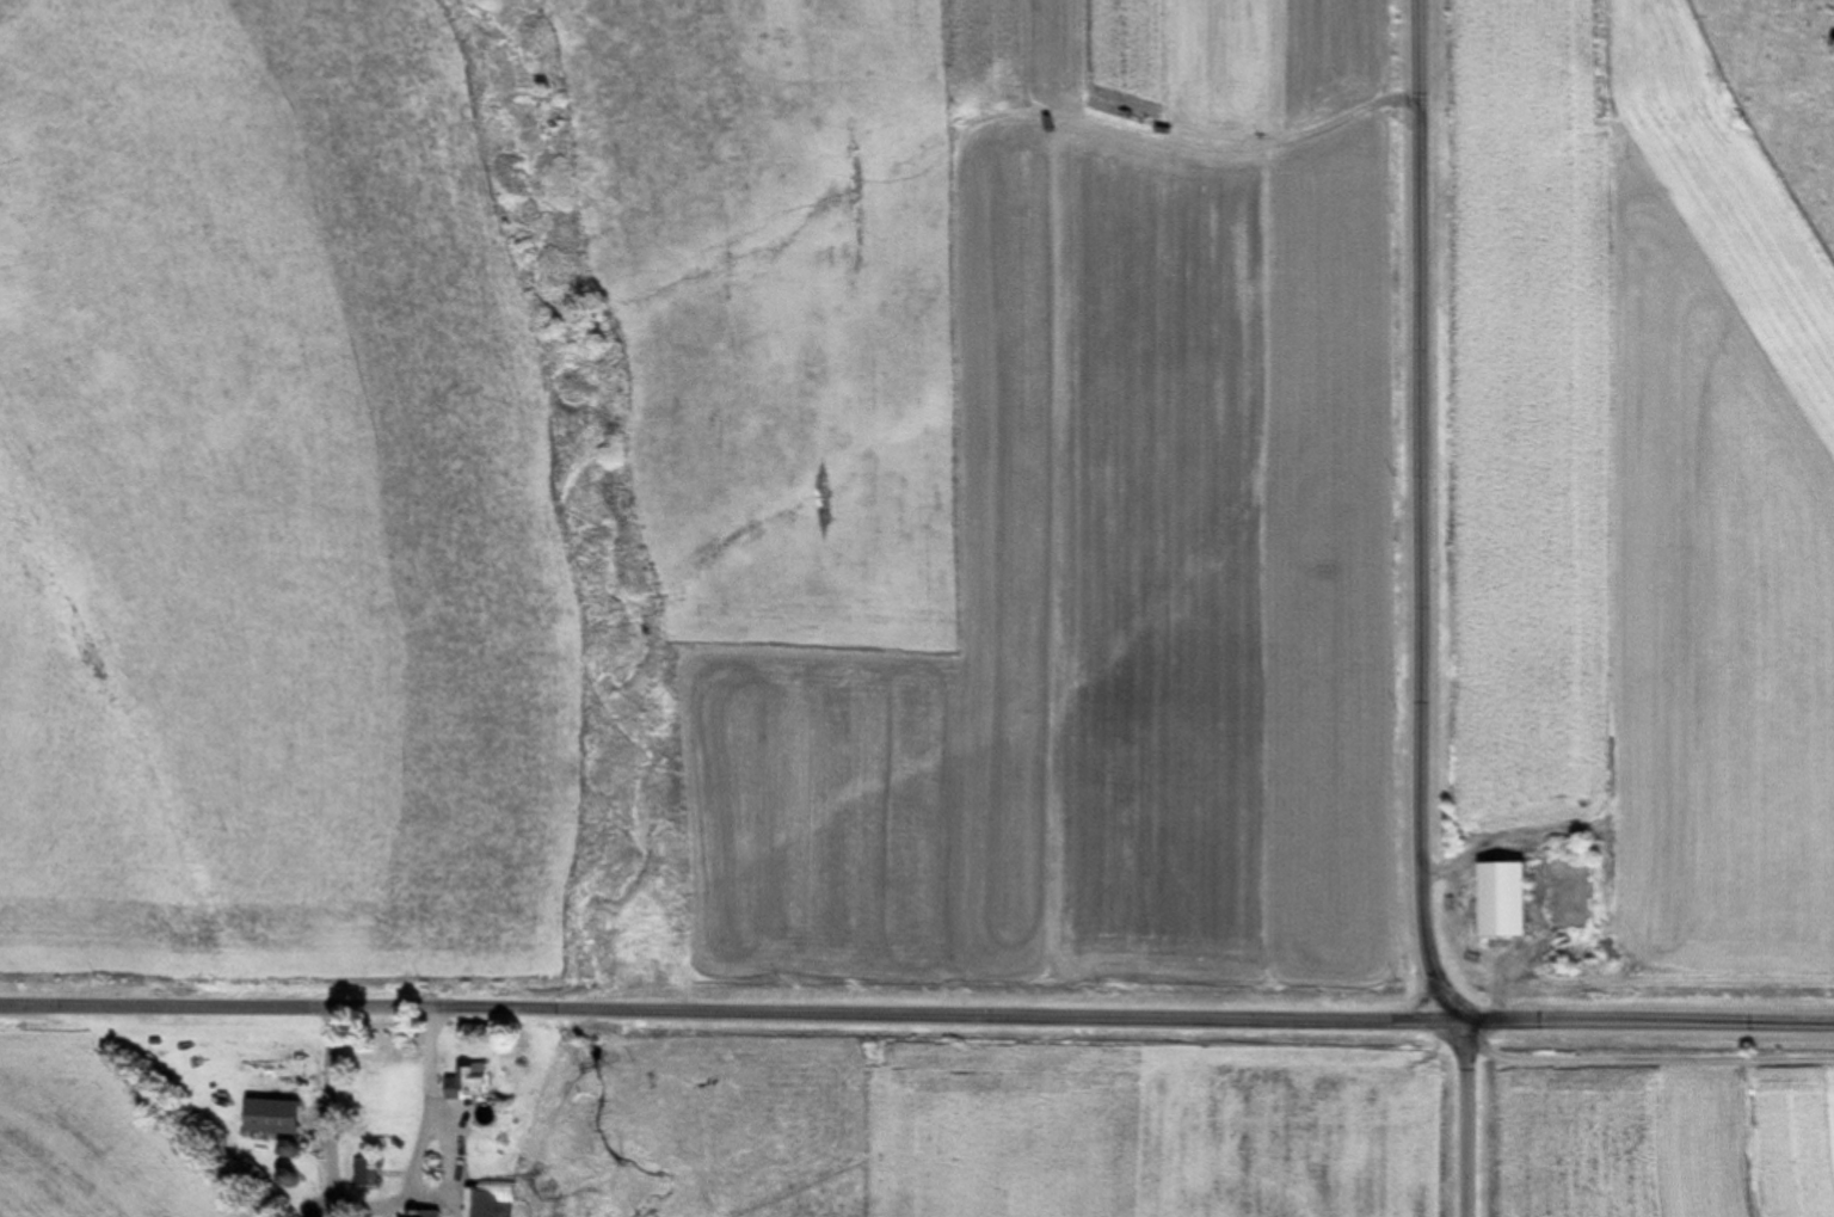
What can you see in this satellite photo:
road: (1429, 608)
building: (1514, 899)
road: (1632, 983)
road: (715, 986)
building: (731, 1058)
building: (475, 1082)
road: (338, 1104)
building: (279, 1117)
building: (368, 1173)
building: (492, 1199)
building: (425, 1213)

